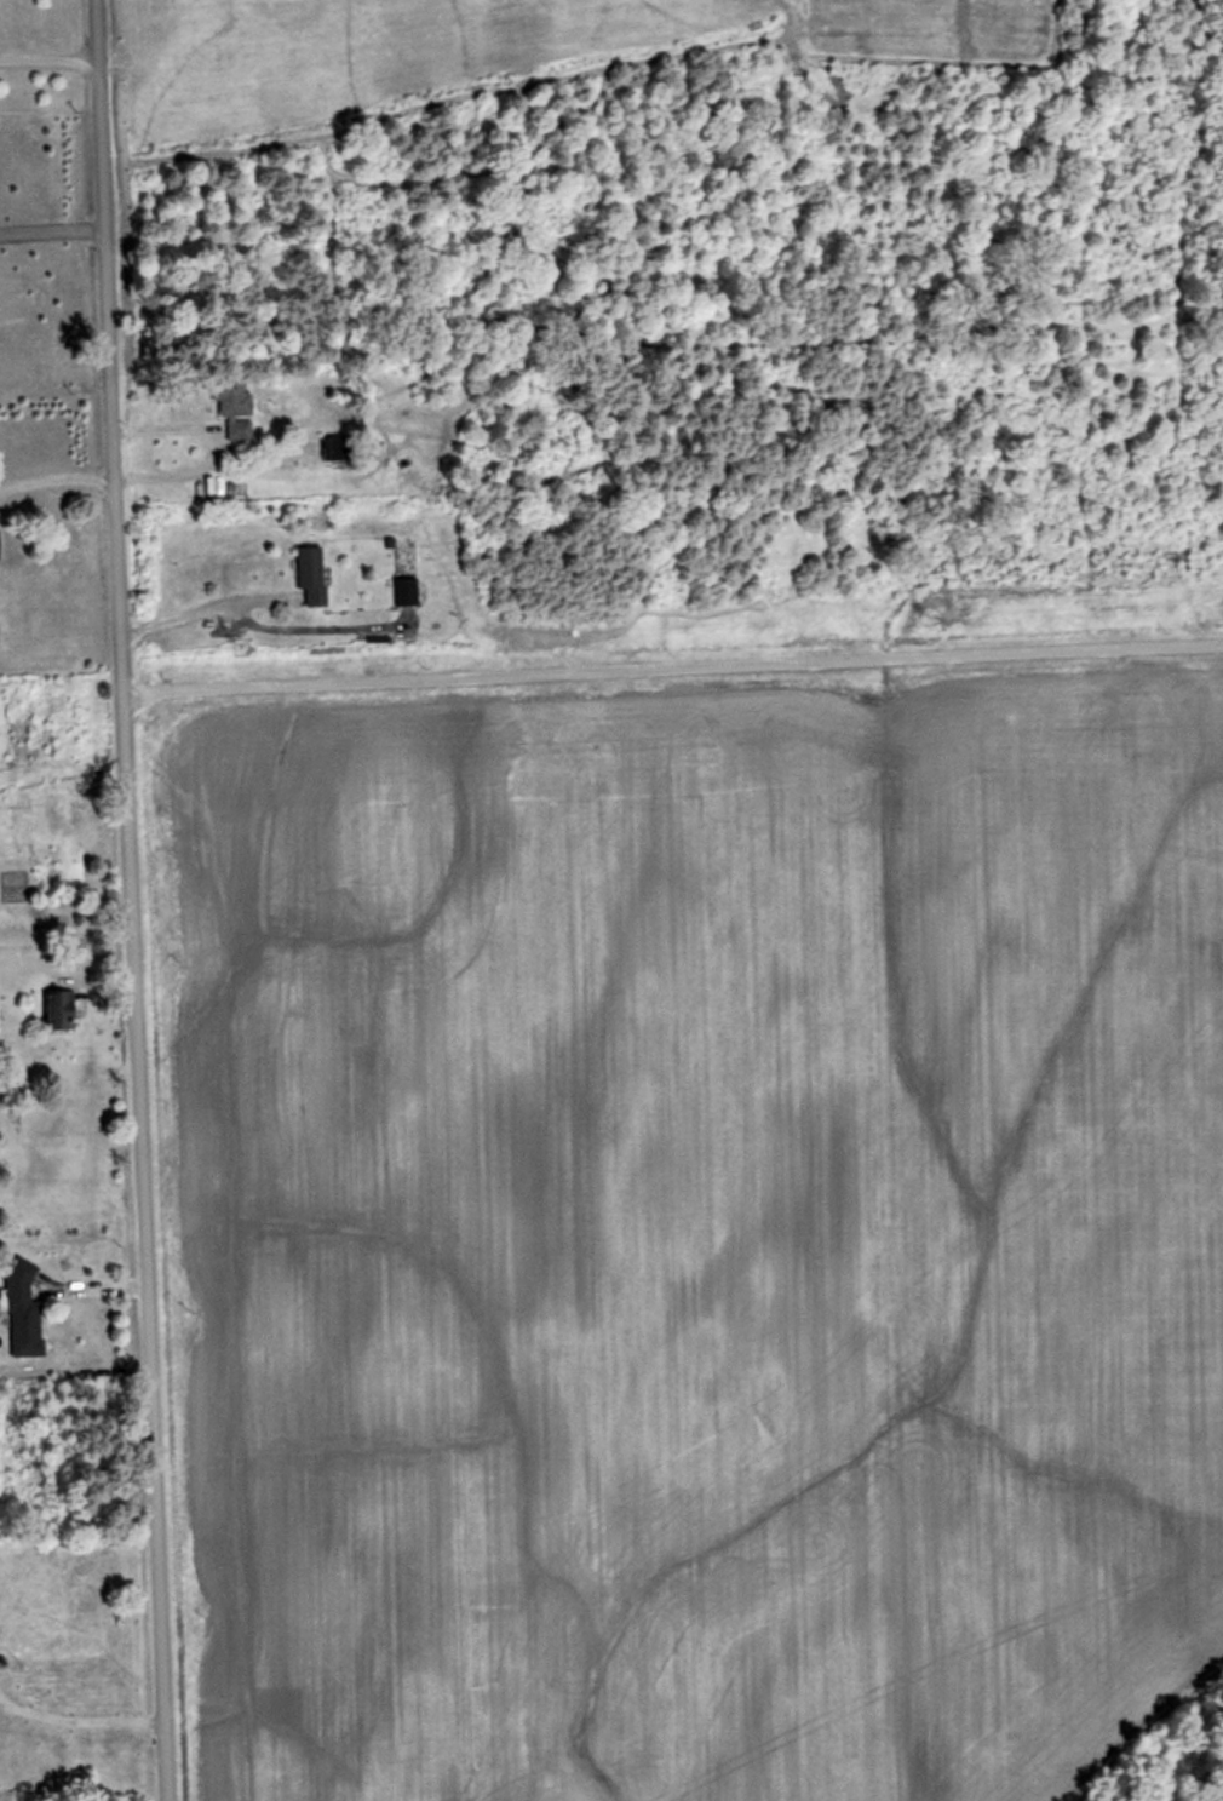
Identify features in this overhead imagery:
road: (46, 65)
road: (48, 235)
building: (235, 408)
road: (203, 442)
building: (335, 449)
road: (53, 482)
building: (0, 545)
building: (312, 575)
building: (407, 592)
road: (195, 607)
power tower: (931, 620)
power tower: (254, 653)
road: (668, 664)
road: (126, 900)
building: (62, 1010)
building: (23, 1312)
road: (80, 1722)

